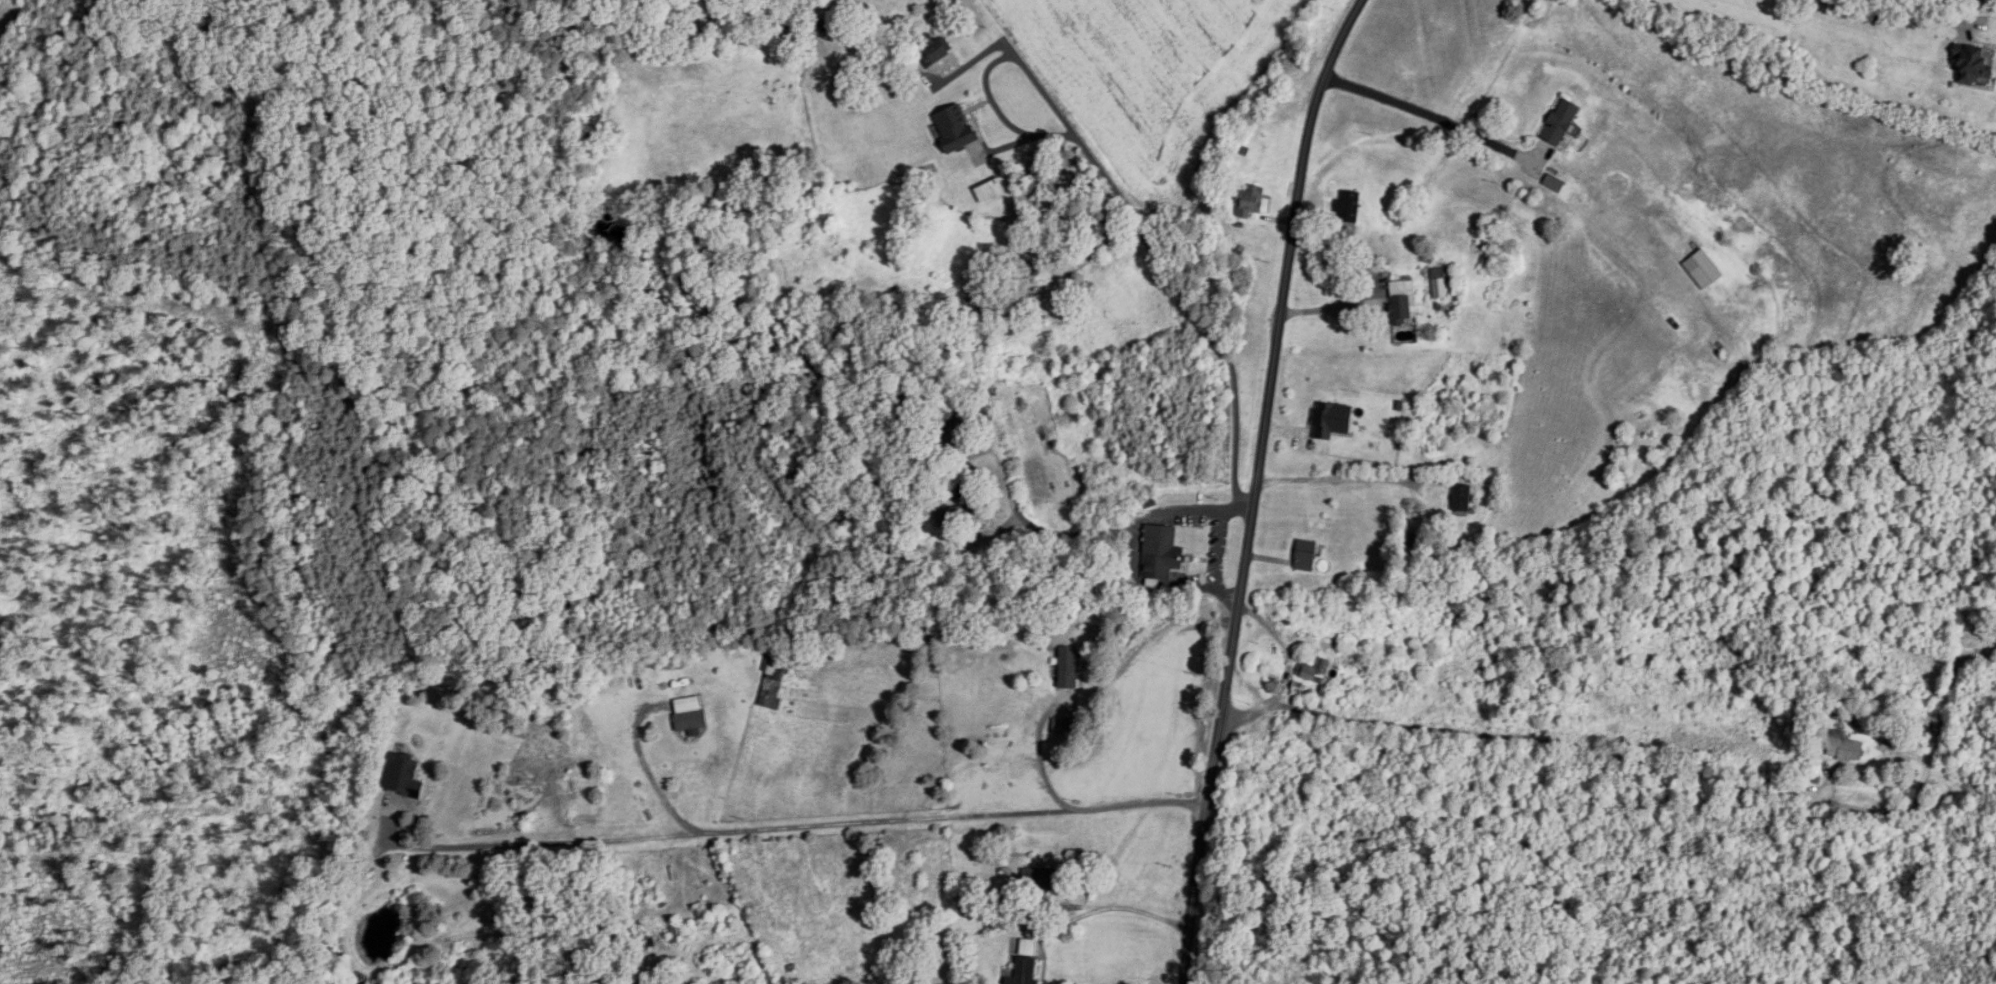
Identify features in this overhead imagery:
building: (833, 21)
road: (1884, 26)
building: (935, 51)
building: (1975, 65)
building: (1561, 122)
road: (1426, 126)
building: (1251, 202)
road: (1156, 265)
building: (1704, 270)
building: (1033, 273)
building: (1440, 283)
road: (1333, 307)
building: (1405, 312)
building: (1332, 420)
building: (953, 430)
road: (1350, 477)
road: (1256, 487)
building: (959, 491)
building: (1462, 499)
building: (956, 518)
road: (1127, 525)
building: (1162, 556)
building: (1305, 556)
building: (1991, 637)
building: (673, 663)
building: (1069, 668)
building: (1312, 673)
building: (774, 680)
building: (1345, 696)
building: (690, 713)
building: (1921, 729)
building: (1844, 747)
road: (1041, 760)
road: (1638, 761)
building: (404, 776)
road: (641, 776)
road: (796, 827)
building: (1042, 878)
road: (1119, 908)
building: (682, 932)
building: (1028, 946)
building: (1025, 971)

